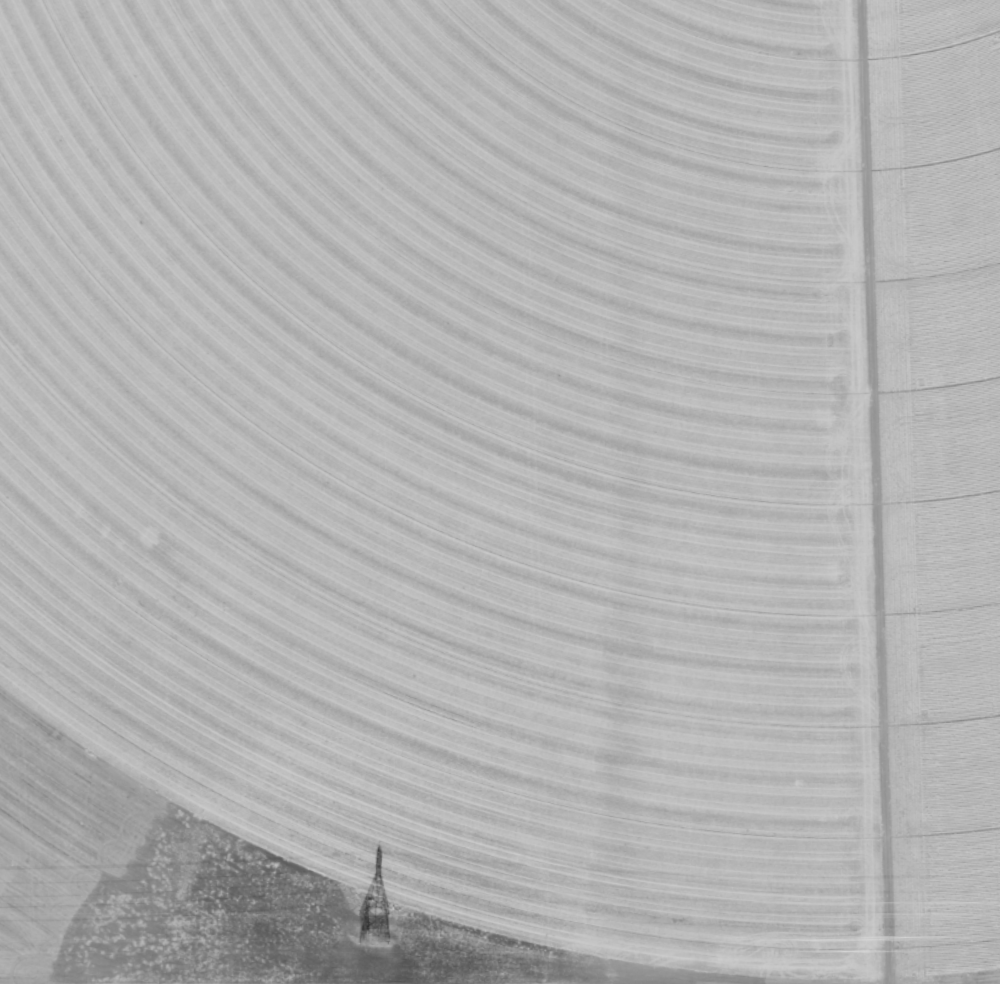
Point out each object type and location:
power tower: (373, 928)

